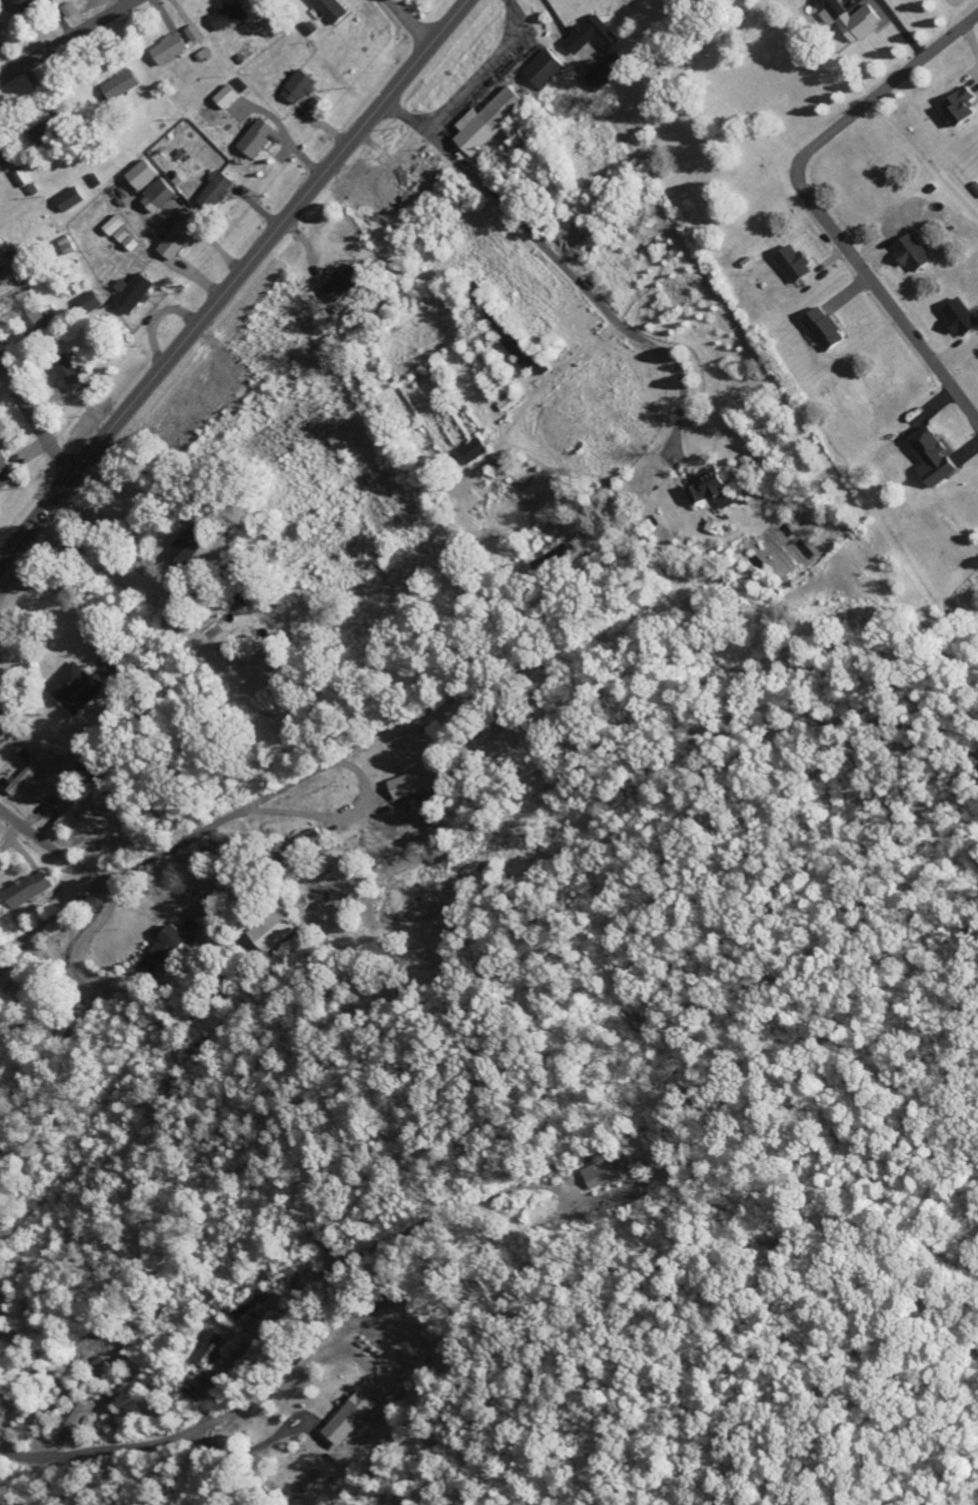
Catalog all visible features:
building: (28, 4)
building: (69, 10)
building: (330, 10)
building: (229, 15)
building: (853, 20)
road: (411, 21)
building: (194, 33)
building: (592, 36)
road: (66, 39)
building: (170, 49)
building: (543, 70)
building: (604, 74)
building: (122, 86)
building: (299, 87)
building: (228, 97)
building: (960, 107)
building: (488, 121)
building: (45, 131)
building: (259, 139)
building: (1, 169)
building: (143, 175)
building: (24, 178)
building: (216, 192)
building: (159, 196)
building: (71, 200)
building: (123, 234)
building: (176, 240)
building: (913, 253)
building: (7, 256)
building: (794, 264)
road: (233, 281)
building: (344, 284)
building: (133, 293)
building: (89, 303)
building: (30, 311)
building: (961, 318)
building: (824, 329)
building: (68, 374)
building: (510, 403)
road: (34, 422)
building: (476, 451)
building: (933, 458)
building: (3, 465)
building: (713, 491)
building: (715, 527)
building: (74, 689)
building: (2, 732)
building: (89, 770)
building: (22, 777)
building: (416, 783)
road: (234, 814)
building: (67, 815)
building: (305, 840)
building: (26, 890)
road: (51, 917)
building: (273, 931)
building: (168, 946)
building: (8, 976)
building: (78, 1017)
building: (657, 1153)
building: (609, 1171)
building: (250, 1303)
building: (212, 1351)
building: (99, 1367)
building: (79, 1417)
building: (347, 1419)
road: (184, 1434)

